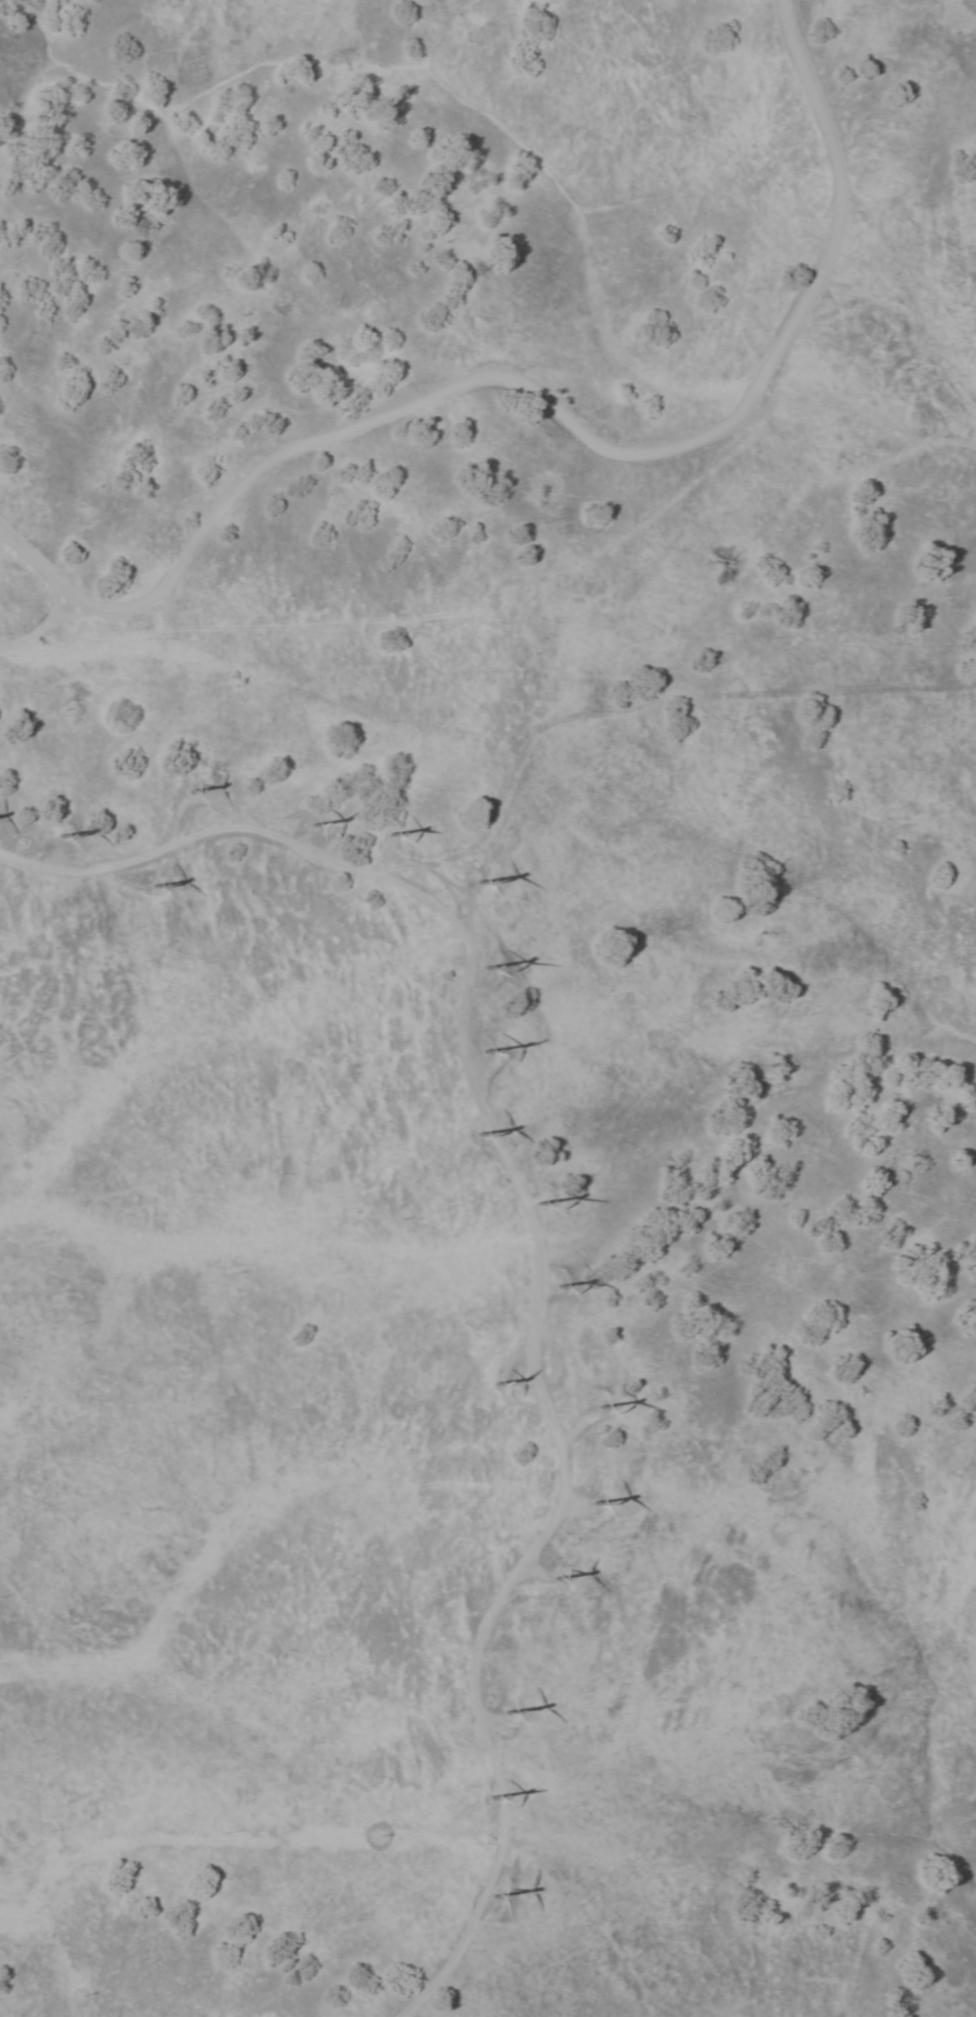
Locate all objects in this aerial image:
road: (546, 403)
road: (74, 615)
road: (44, 625)
road: (0, 644)
wind turbine: (188, 799)
wind turbine: (310, 829)
wind turbine: (58, 833)
wind turbine: (390, 843)
wind turbine: (478, 877)
wind turbine: (154, 887)
wind turbine: (484, 969)
wind turbine: (486, 1052)
wind turbine: (480, 1137)
wind turbine: (544, 1201)
road: (537, 1252)
wind turbine: (564, 1281)
road: (498, 1378)
wind turbine: (489, 1380)
wind turbine: (593, 1401)
road: (564, 1426)
wind turbine: (582, 1493)
wind turbine: (546, 1573)
wind turbine: (504, 1712)
wind turbine: (488, 1796)
wind turbine: (494, 1894)

